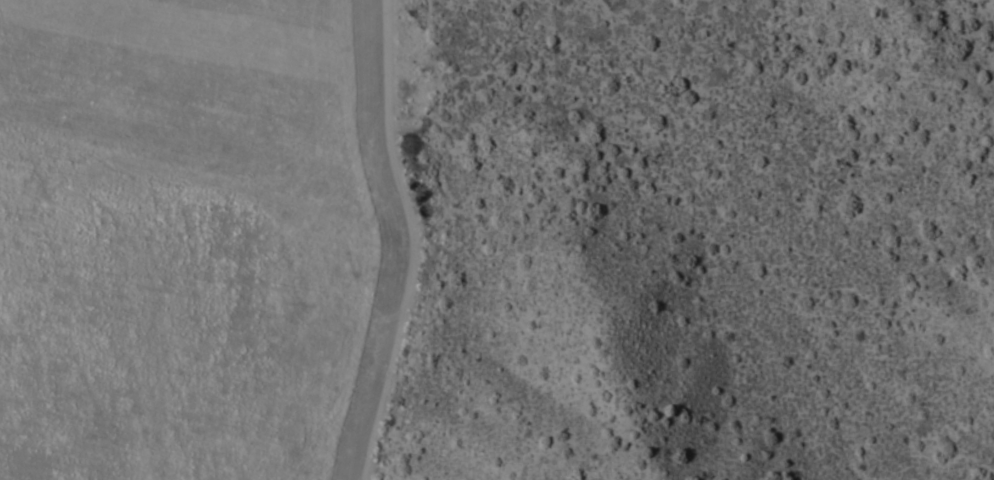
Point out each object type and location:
crop: (199, 238)

